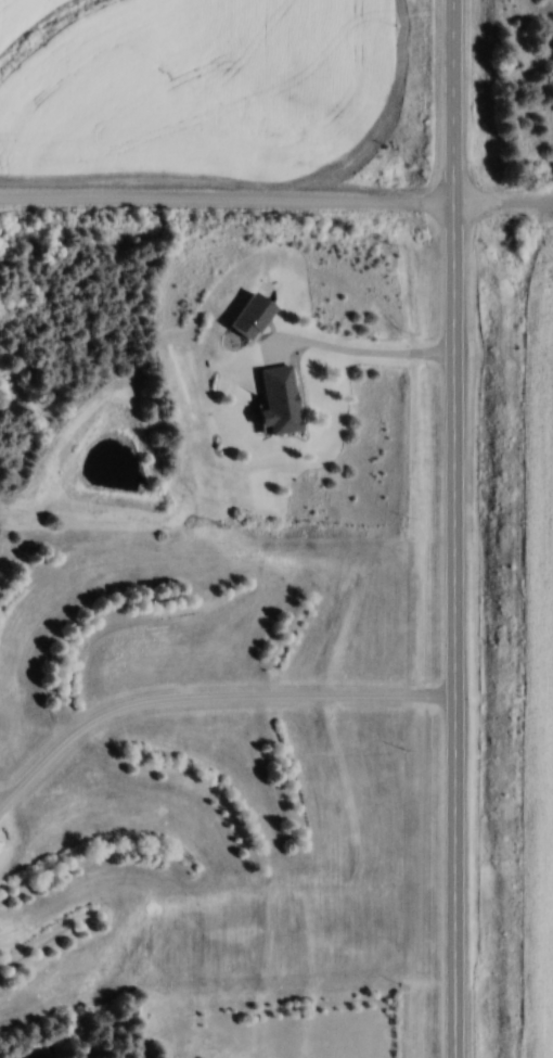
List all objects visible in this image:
road: (276, 204)
building: (255, 314)
road: (364, 356)
building: (282, 398)
road: (455, 528)
road: (207, 701)

